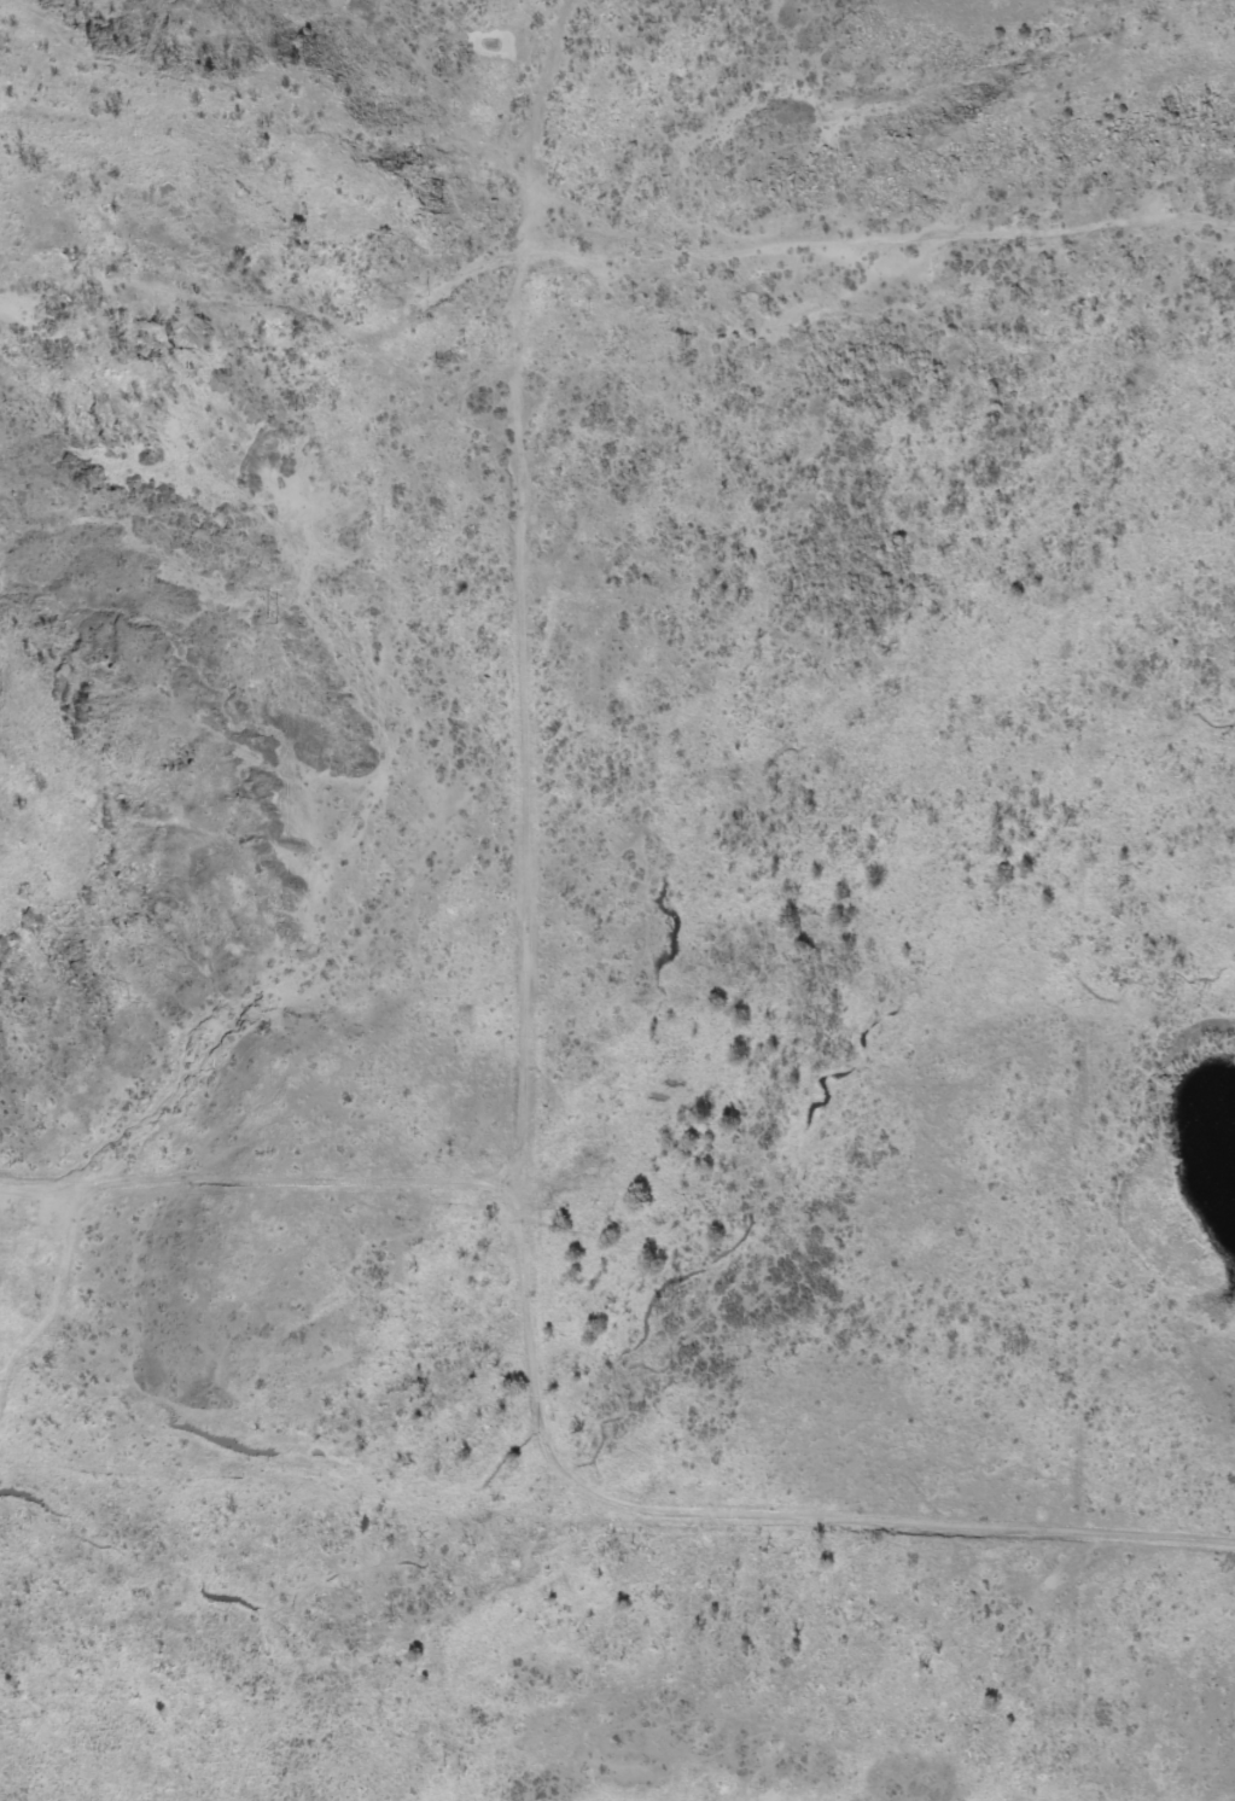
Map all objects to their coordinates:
road: (168, 1426)
road: (258, 1549)

